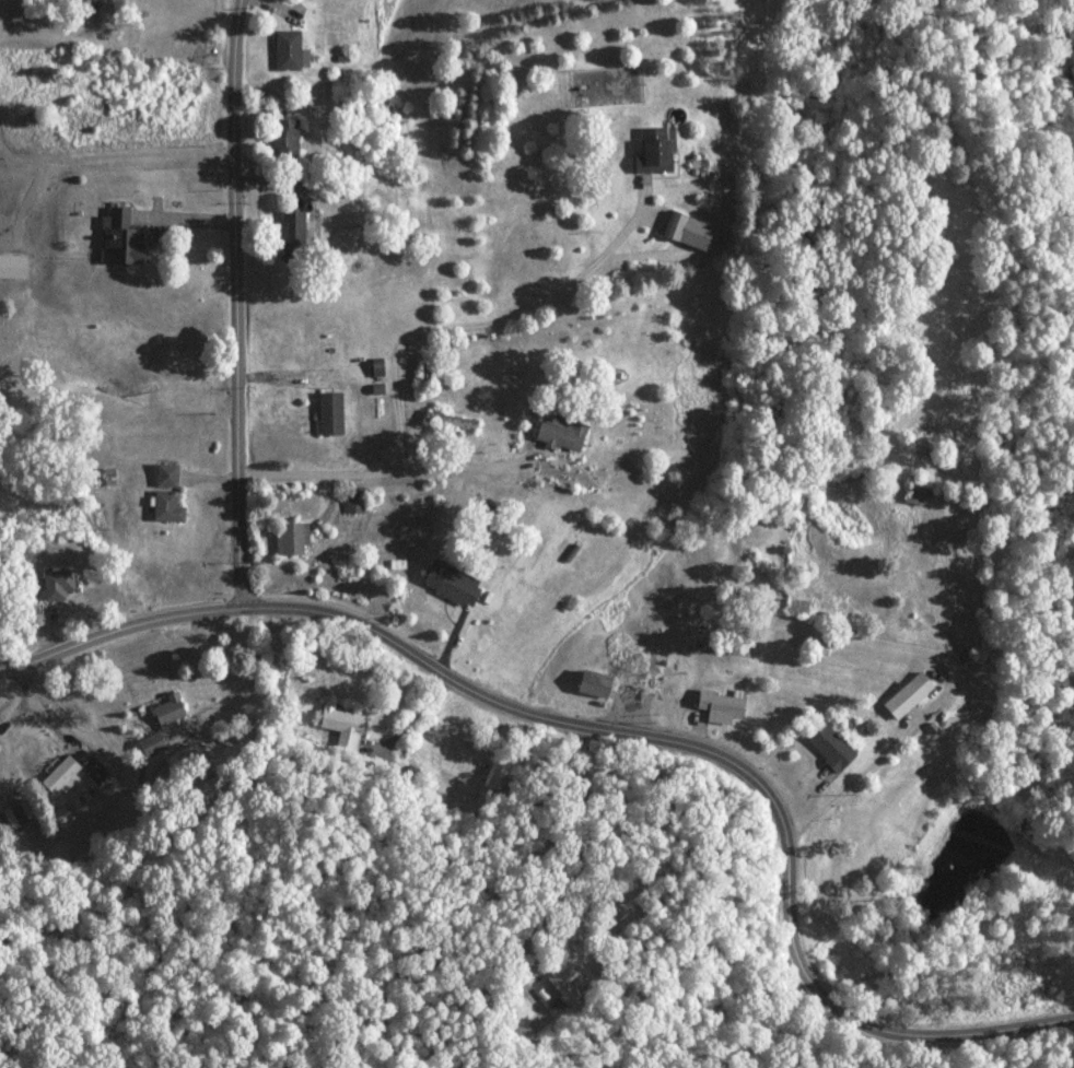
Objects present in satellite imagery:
building: (291, 54)
building: (287, 139)
building: (656, 150)
building: (689, 232)
building: (295, 236)
building: (121, 238)
building: (14, 267)
road: (235, 304)
road: (485, 325)
building: (331, 414)
building: (563, 434)
road: (360, 468)
building: (917, 492)
building: (168, 495)
building: (355, 503)
building: (294, 540)
building: (455, 584)
building: (59, 586)
building: (698, 631)
building: (597, 684)
building: (908, 699)
building: (722, 707)
building: (171, 711)
building: (340, 723)
road: (616, 731)
building: (153, 746)
building: (832, 748)
building: (98, 772)
building: (62, 776)
building: (494, 777)

